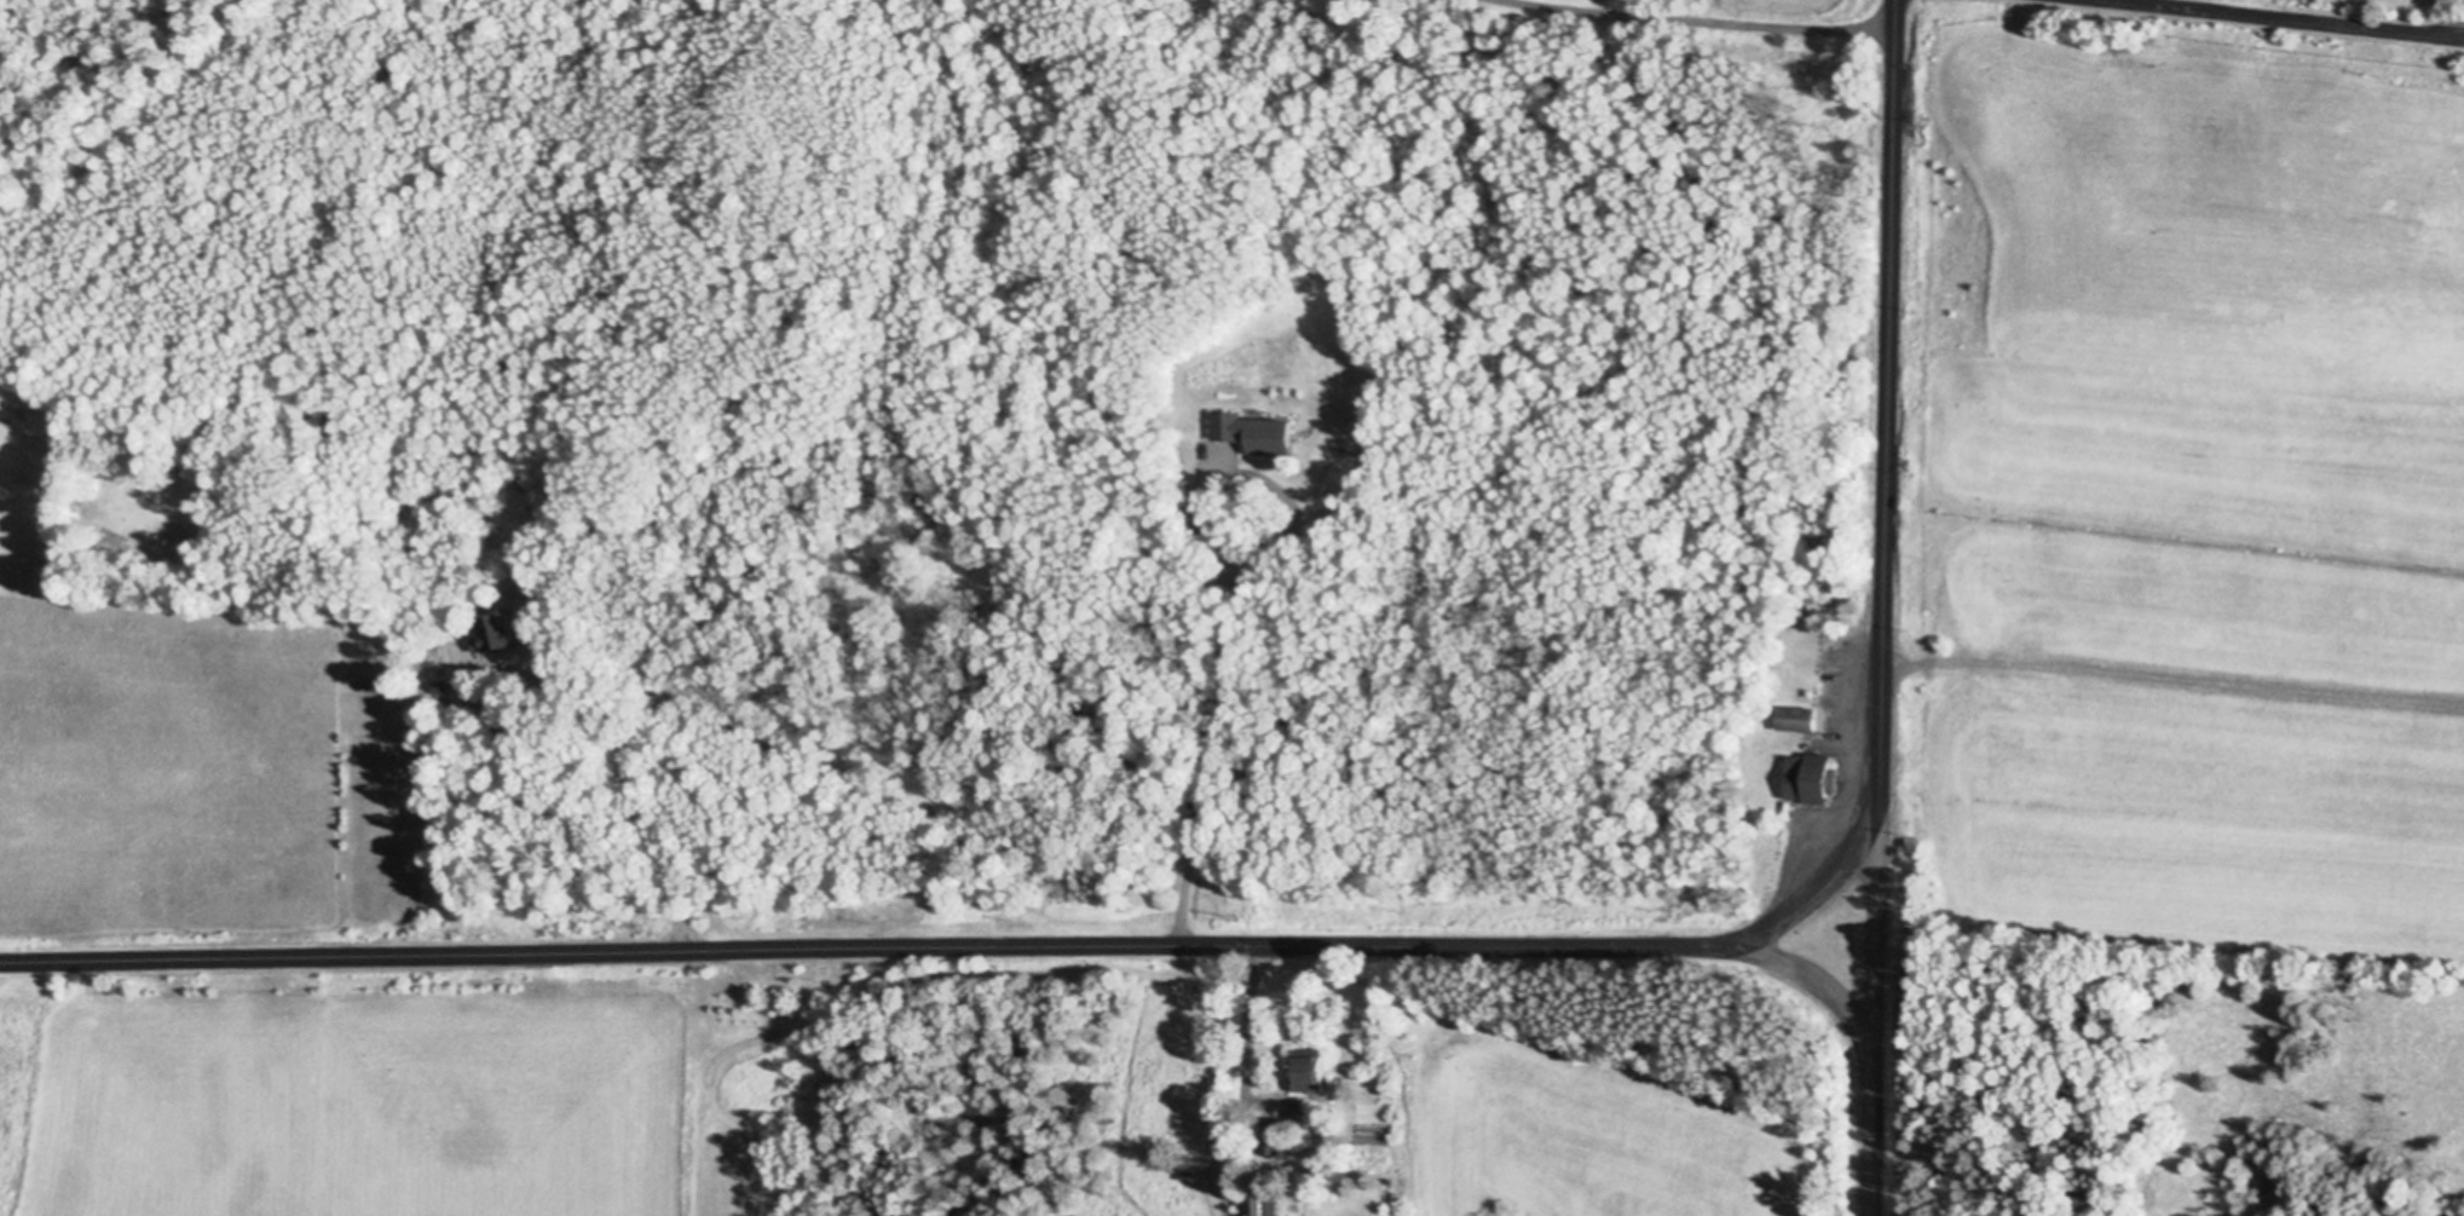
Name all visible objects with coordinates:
road: (2252, 21)
road: (1670, 23)
road: (2456, 40)
road: (1885, 528)
road: (2171, 682)
road: (646, 796)
road: (1822, 881)
road: (1038, 951)
road: (1241, 1082)

